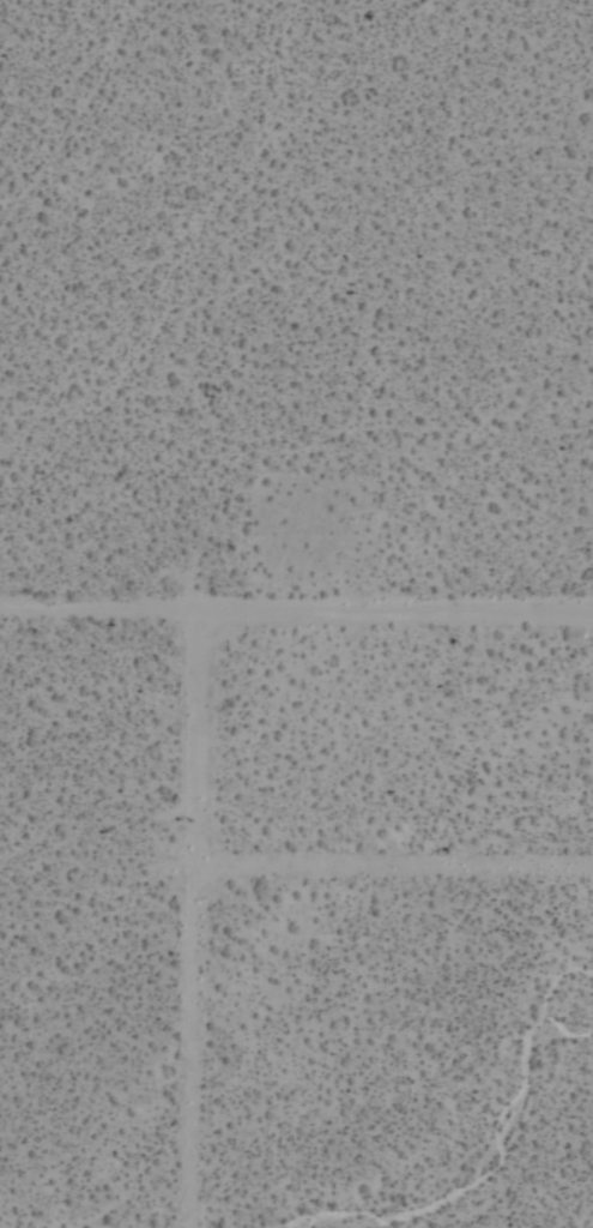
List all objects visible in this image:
road: (296, 609)
crop: (296, 614)
road: (192, 919)

